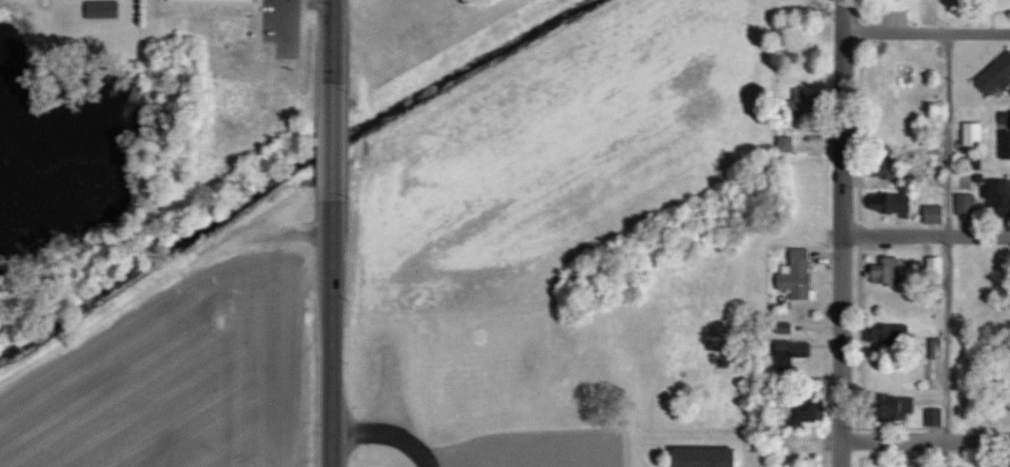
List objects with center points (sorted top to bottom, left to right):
building: (105, 9)
road: (282, 12)
road: (926, 31)
building: (996, 76)
building: (811, 102)
building: (1005, 136)
building: (999, 197)
building: (892, 202)
building: (935, 213)
road: (331, 233)
road: (842, 233)
road: (926, 235)
road: (949, 250)
building: (888, 271)
building: (799, 275)
building: (937, 348)
building: (794, 352)
building: (895, 407)
building: (804, 412)
building: (936, 416)
road: (385, 435)
road: (925, 438)
building: (708, 457)

